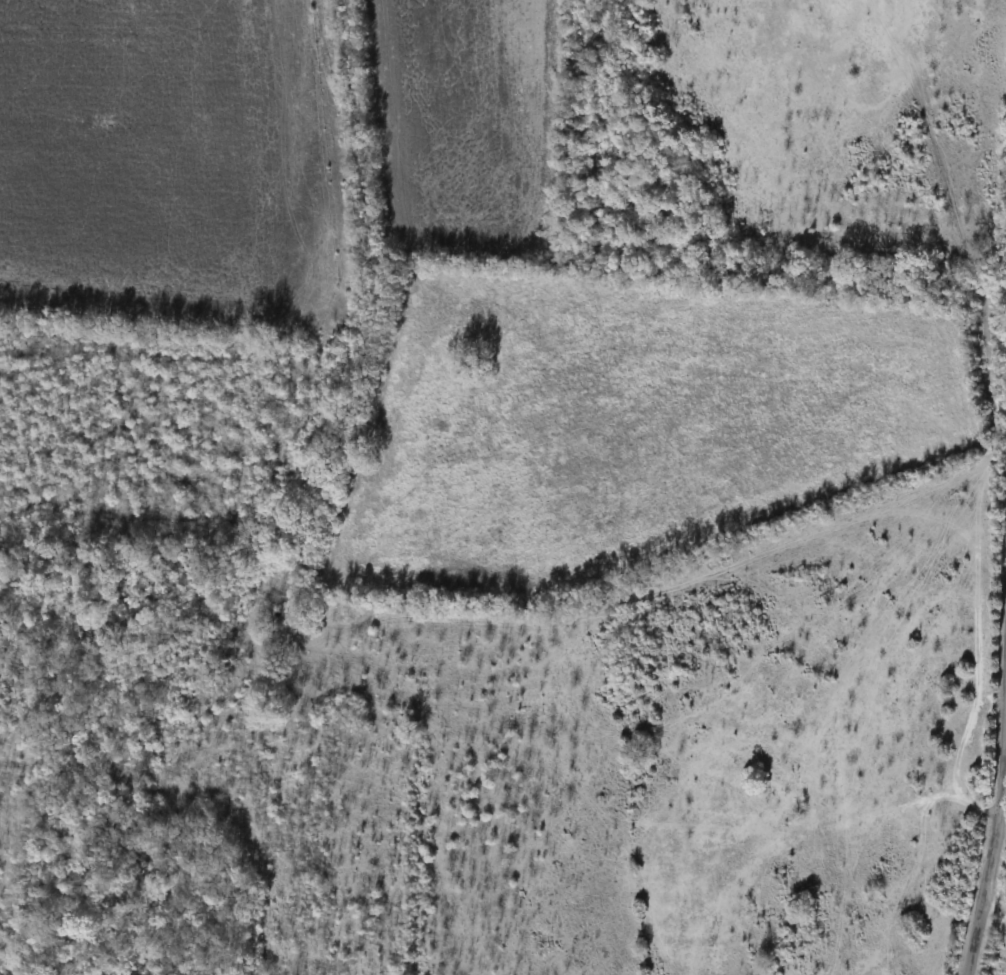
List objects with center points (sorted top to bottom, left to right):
road: (987, 873)
road: (998, 901)

